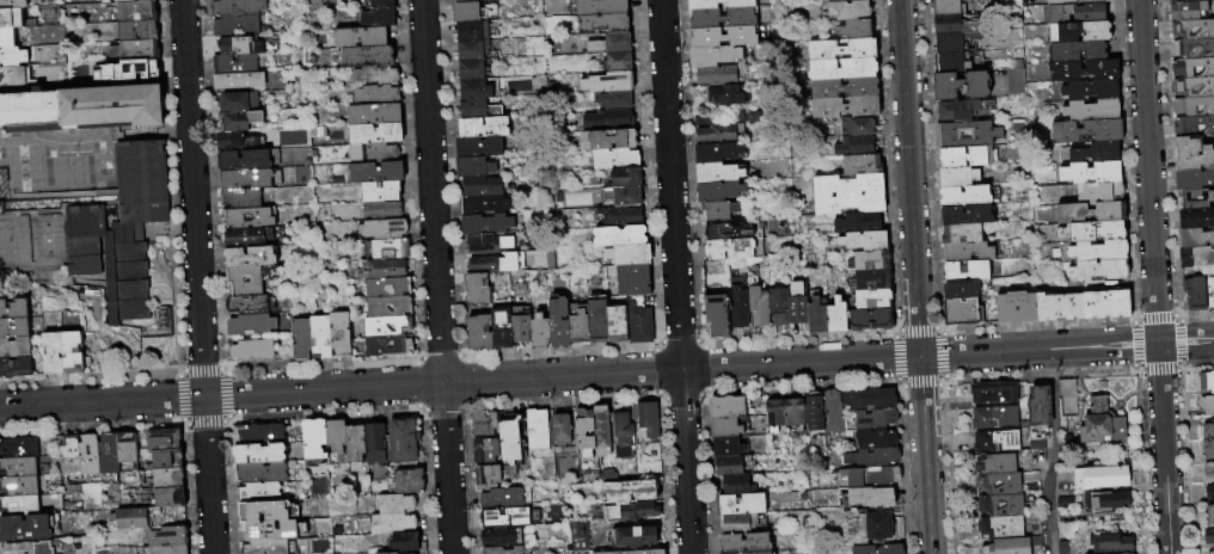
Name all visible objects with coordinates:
building: (461, 0)
building: (834, 0)
building: (1178, 0)
building: (130, 1)
building: (1071, 1)
building: (375, 2)
building: (11, 4)
building: (701, 5)
building: (595, 6)
building: (237, 7)
building: (945, 7)
building: (847, 8)
building: (1187, 10)
building: (133, 12)
building: (1077, 12)
building: (459, 13)
building: (374, 17)
building: (722, 17)
building: (8, 18)
building: (596, 23)
building: (946, 24)
building: (234, 25)
building: (854, 29)
building: (1192, 29)
building: (134, 31)
building: (1083, 31)
building: (462, 32)
building: (723, 36)
building: (5, 38)
building: (356, 38)
building: (948, 43)
building: (239, 44)
building: (606, 44)
building: (1194, 48)
building: (841, 49)
building: (130, 50)
building: (1077, 51)
building: (464, 53)
building: (713, 55)
building: (10, 57)
building: (363, 57)
building: (950, 62)
building: (234, 63)
building: (613, 63)
building: (1194, 67)
building: (841, 68)
building: (135, 69)
building: (1083, 69)
building: (465, 70)
building: (716, 75)
building: (10, 76)
building: (370, 76)
building: (239, 79)
building: (1013, 81)
building: (602, 84)
building: (959, 85)
building: (844, 87)
building: (1194, 87)
building: (1090, 88)
building: (468, 91)
building: (725, 94)
building: (373, 96)
building: (238, 101)
building: (608, 101)
building: (112, 106)
building: (844, 106)
building: (1194, 106)
building: (467, 110)
building: (956, 110)
building: (1091, 110)
building: (30, 112)
building: (369, 116)
building: (238, 119)
building: (603, 121)
building: (854, 127)
building: (1194, 127)
building: (477, 128)
building: (1085, 129)
building: (712, 131)
building: (370, 135)
building: (964, 135)
building: (231, 140)
building: (603, 141)
building: (853, 146)
building: (473, 148)
building: (1096, 150)
building: (716, 152)
building: (370, 154)
building: (1192, 154)
building: (967, 156)
building: (244, 159)
building: (609, 160)
park: (56, 164)
building: (860, 164)
building: (467, 168)
road: (1148, 171)
building: (1090, 172)
building: (372, 173)
building: (717, 173)
building: (956, 176)
road: (1167, 177)
building: (620, 178)
road: (908, 178)
building: (245, 179)
building: (1194, 179)
building: (139, 181)
building: (477, 187)
building: (718, 191)
building: (1098, 191)
building: (376, 192)
building: (847, 193)
building: (968, 195)
building: (619, 197)
building: (1195, 197)
building: (240, 198)
building: (478, 205)
building: (718, 210)
building: (375, 211)
building: (1090, 211)
building: (965, 214)
building: (614, 216)
building: (247, 217)
building: (1196, 217)
building: (857, 222)
building: (479, 224)
building: (380, 230)
building: (726, 230)
building: (1091, 230)
building: (961, 233)
building: (244, 236)
building: (613, 236)
building: (1196, 238)
park: (30, 239)
building: (79, 239)
building: (863, 240)
building: (482, 245)
building: (729, 248)
building: (386, 251)
building: (1098, 251)
building: (967, 252)
building: (249, 256)
building: (621, 256)
building: (1196, 257)
building: (871, 259)
building: (490, 265)
building: (1098, 269)
building: (381, 270)
building: (964, 270)
building: (121, 273)
road: (675, 276)
road: (196, 277)
road: (436, 277)
building: (244, 279)
building: (871, 279)
building: (627, 281)
building: (471, 282)
building: (382, 289)
building: (959, 289)
building: (1194, 294)
building: (1209, 294)
building: (471, 297)
building: (872, 298)
building: (738, 302)
building: (796, 303)
building: (1105, 303)
building: (246, 304)
building: (758, 306)
building: (778, 306)
building: (1014, 306)
building: (1057, 306)
building: (384, 308)
building: (13, 309)
building: (961, 312)
building: (716, 314)
building: (835, 315)
building: (816, 316)
building: (870, 319)
building: (597, 320)
building: (558, 322)
building: (617, 322)
building: (250, 324)
building: (640, 325)
building: (382, 327)
building: (502, 327)
building: (578, 327)
building: (12, 328)
building: (521, 328)
building: (539, 331)
building: (479, 332)
building: (339, 334)
building: (319, 337)
building: (300, 339)
road: (1185, 341)
building: (13, 347)
building: (384, 347)
building: (251, 350)
road: (1037, 350)
building: (59, 355)
building: (13, 367)
road: (1134, 370)
building: (1206, 381)
road: (459, 382)
building: (992, 392)
building: (1067, 398)
building: (869, 399)
building: (1207, 405)
building: (726, 406)
building: (1037, 407)
building: (813, 411)
building: (793, 412)
building: (830, 412)
building: (774, 413)
building: (993, 417)
building: (645, 418)
building: (873, 418)
building: (1100, 424)
building: (484, 425)
building: (725, 427)
building: (535, 430)
building: (560, 430)
building: (1208, 430)
building: (601, 431)
building: (583, 432)
building: (257, 433)
building: (335, 435)
building: (623, 436)
building: (163, 438)
building: (313, 438)
building: (509, 438)
building: (875, 438)
building: (403, 441)
building: (993, 441)
building: (354, 442)
building: (374, 443)
building: (18, 447)
building: (726, 447)
building: (123, 449)
road: (1163, 449)
building: (1208, 449)
building: (484, 451)
road: (1051, 451)
building: (258, 454)
road: (924, 455)
building: (86, 456)
building: (104, 456)
building: (67, 457)
building: (871, 457)
building: (166, 458)
building: (993, 462)
building: (18, 466)
building: (728, 466)
building: (1208, 472)
building: (259, 473)
building: (606, 476)
building: (871, 476)
building: (1099, 476)
building: (166, 478)
building: (486, 478)
building: (407, 482)
building: (735, 484)
building: (997, 484)
building: (18, 485)
building: (629, 491)
building: (1209, 491)
building: (258, 492)
building: (168, 497)
building: (869, 497)
building: (501, 499)
building: (1104, 501)
building: (19, 504)
building: (740, 504)
building: (997, 504)
building: (394, 505)
building: (265, 511)
building: (631, 511)
building: (1209, 516)
building: (139, 517)
building: (501, 518)
building: (738, 523)
building: (391, 524)
building: (869, 525)
building: (29, 527)
building: (999, 527)
building: (272, 530)
building: (165, 536)
building: (577, 536)
building: (634, 536)
building: (1208, 536)
building: (499, 537)
building: (744, 542)
building: (405, 543)
building: (1109, 543)
building: (31, 547)
building: (264, 547)
building: (1005, 547)
building: (166, 549)
building: (878, 549)
building: (502, 550)
building: (633, 552)
building: (1210, 552)
building: (396, 553)
building: (748, 553)

